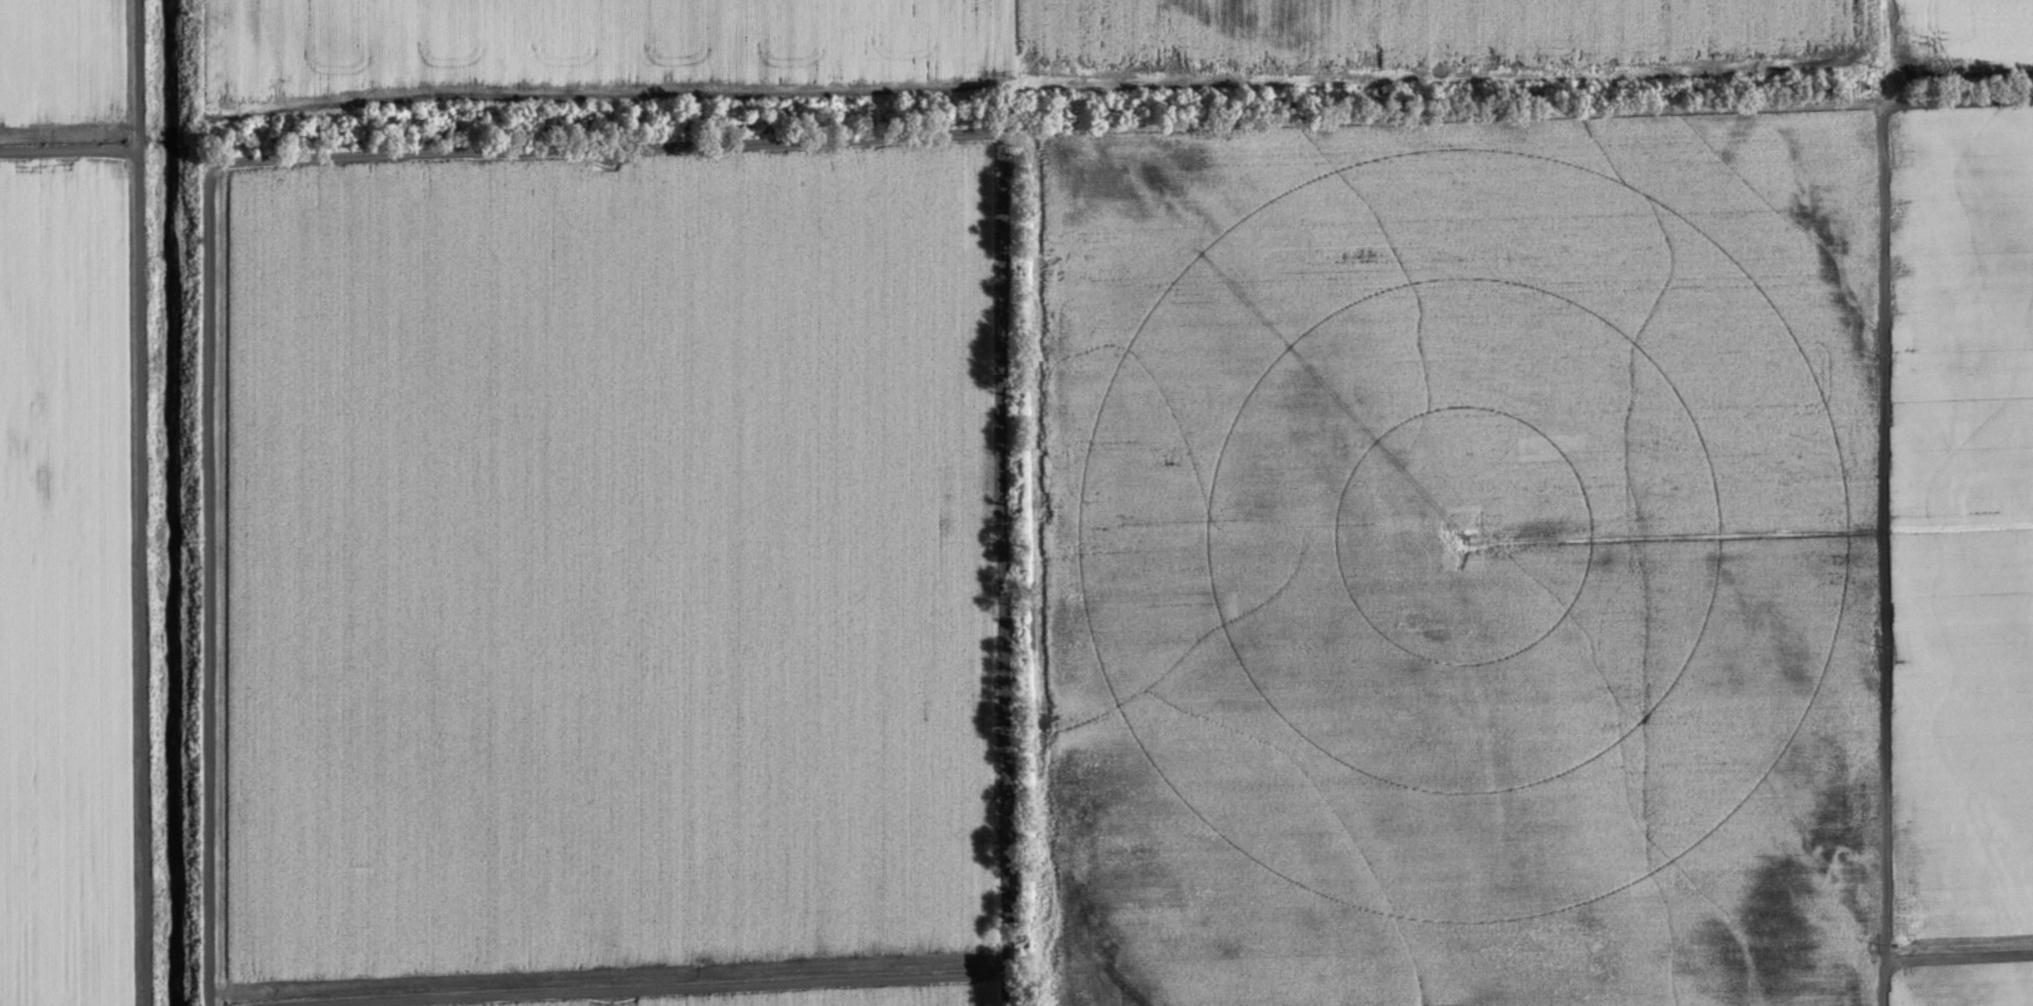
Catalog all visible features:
road: (1924, 935)

